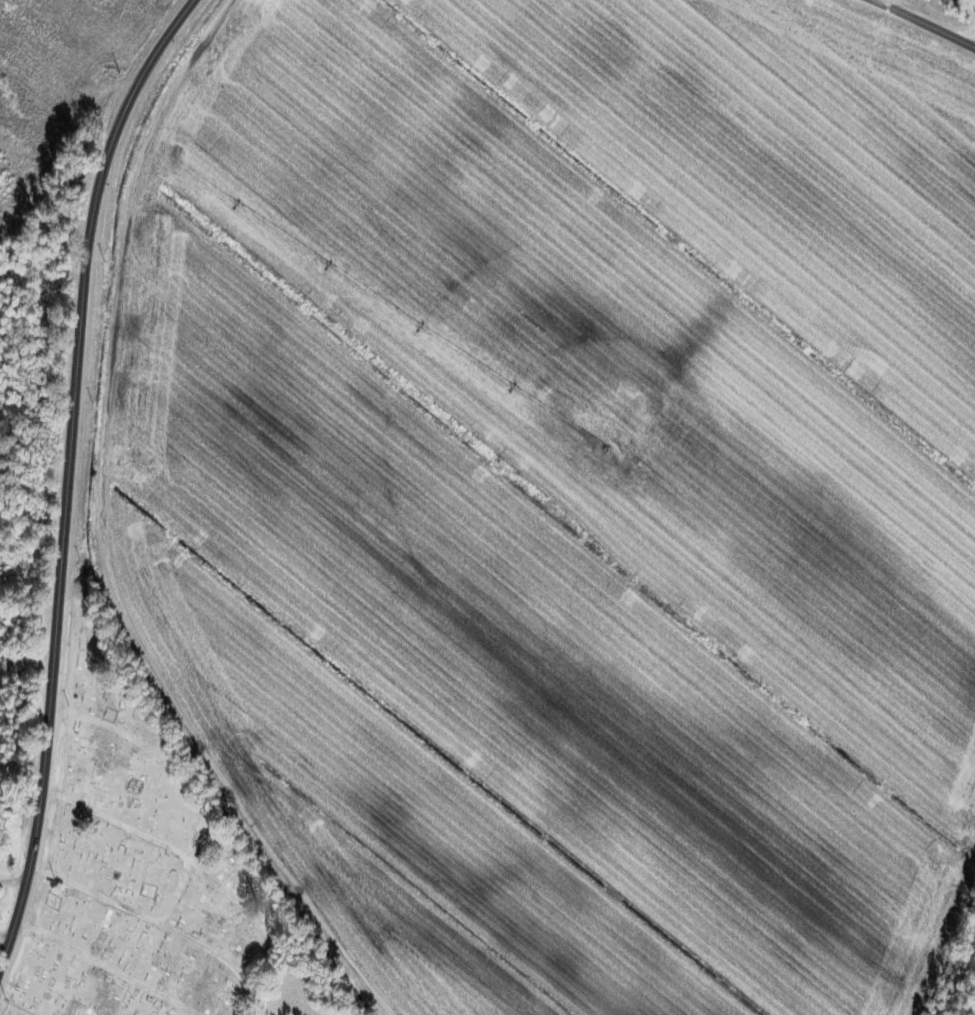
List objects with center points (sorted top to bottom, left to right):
road: (925, 22)
road: (68, 473)
park: (139, 862)

